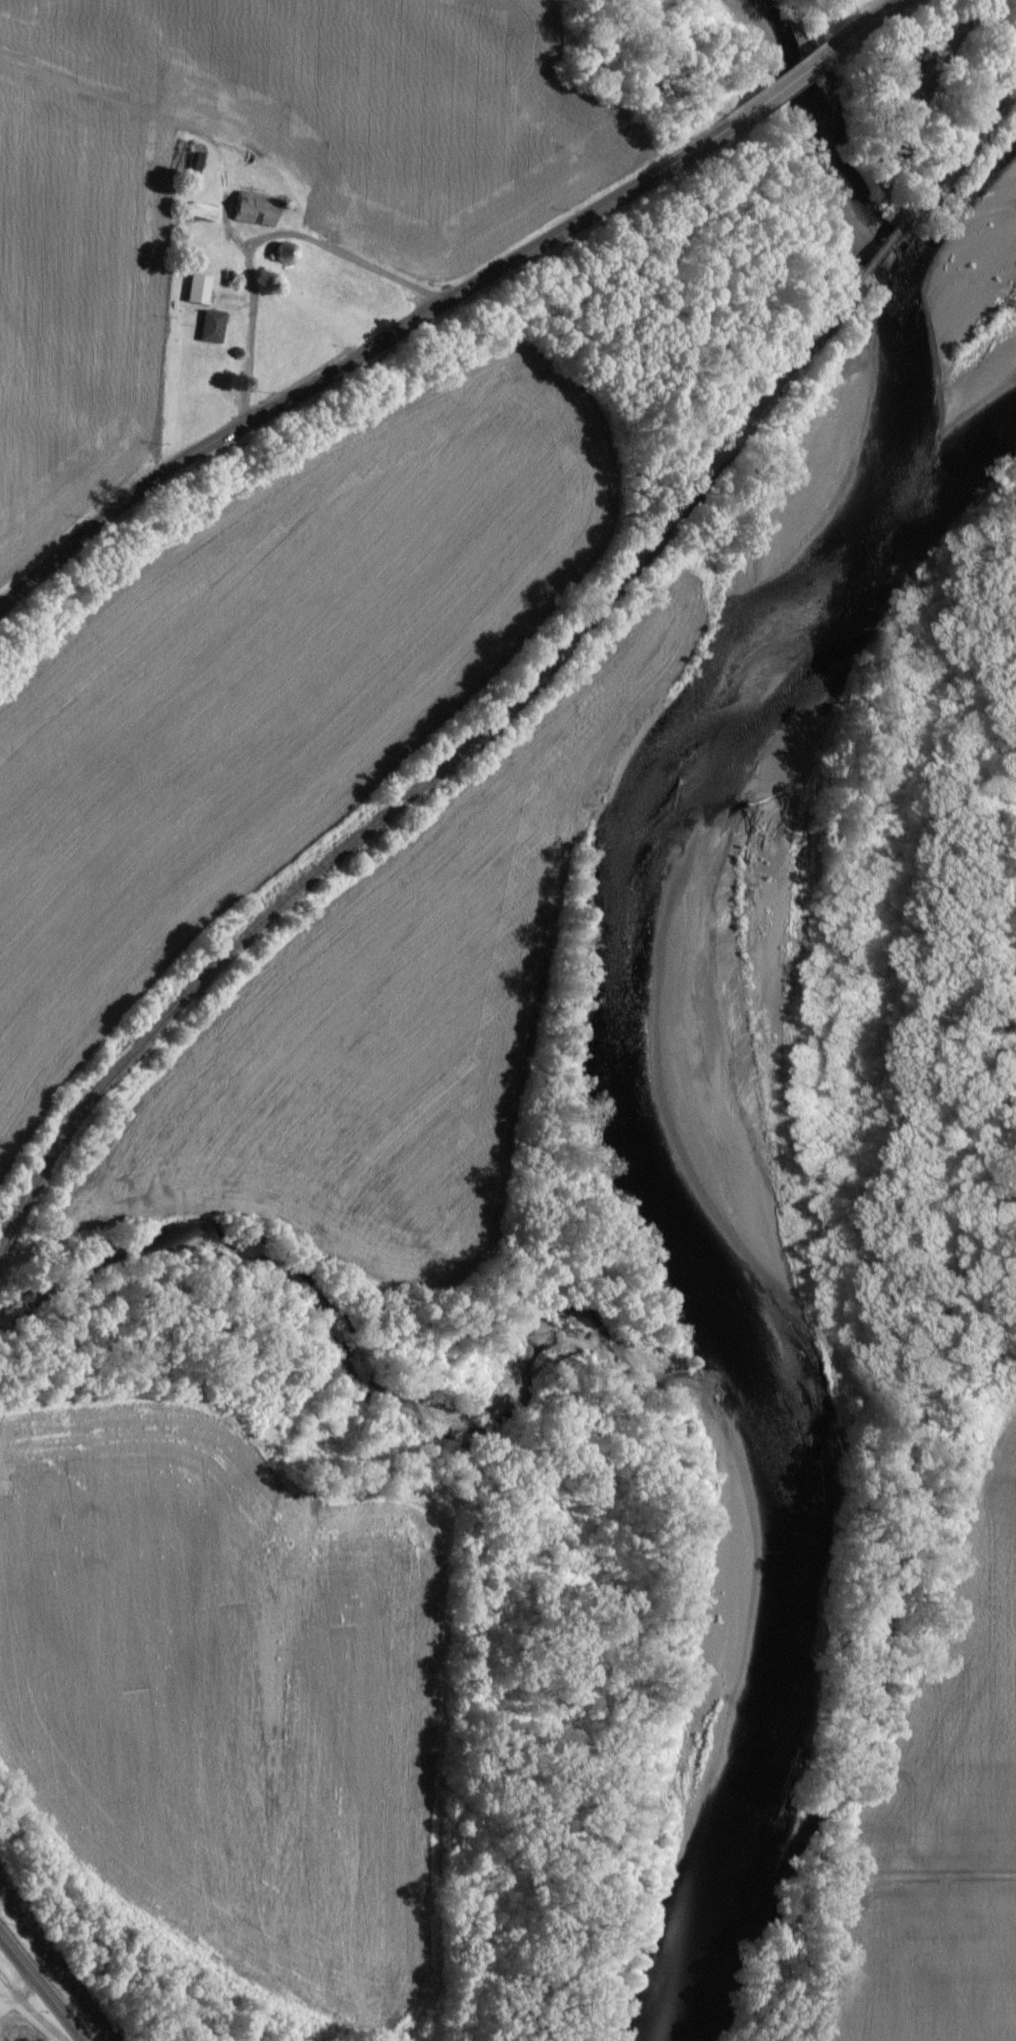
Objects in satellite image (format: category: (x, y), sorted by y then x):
road: (875, 15)
road: (790, 78)
railway: (962, 147)
building: (252, 208)
building: (200, 211)
railway: (886, 243)
building: (196, 289)
building: (209, 326)
road: (355, 354)
railway: (440, 770)
river: (754, 1125)
railway: (54, 1965)
road: (40, 1990)

